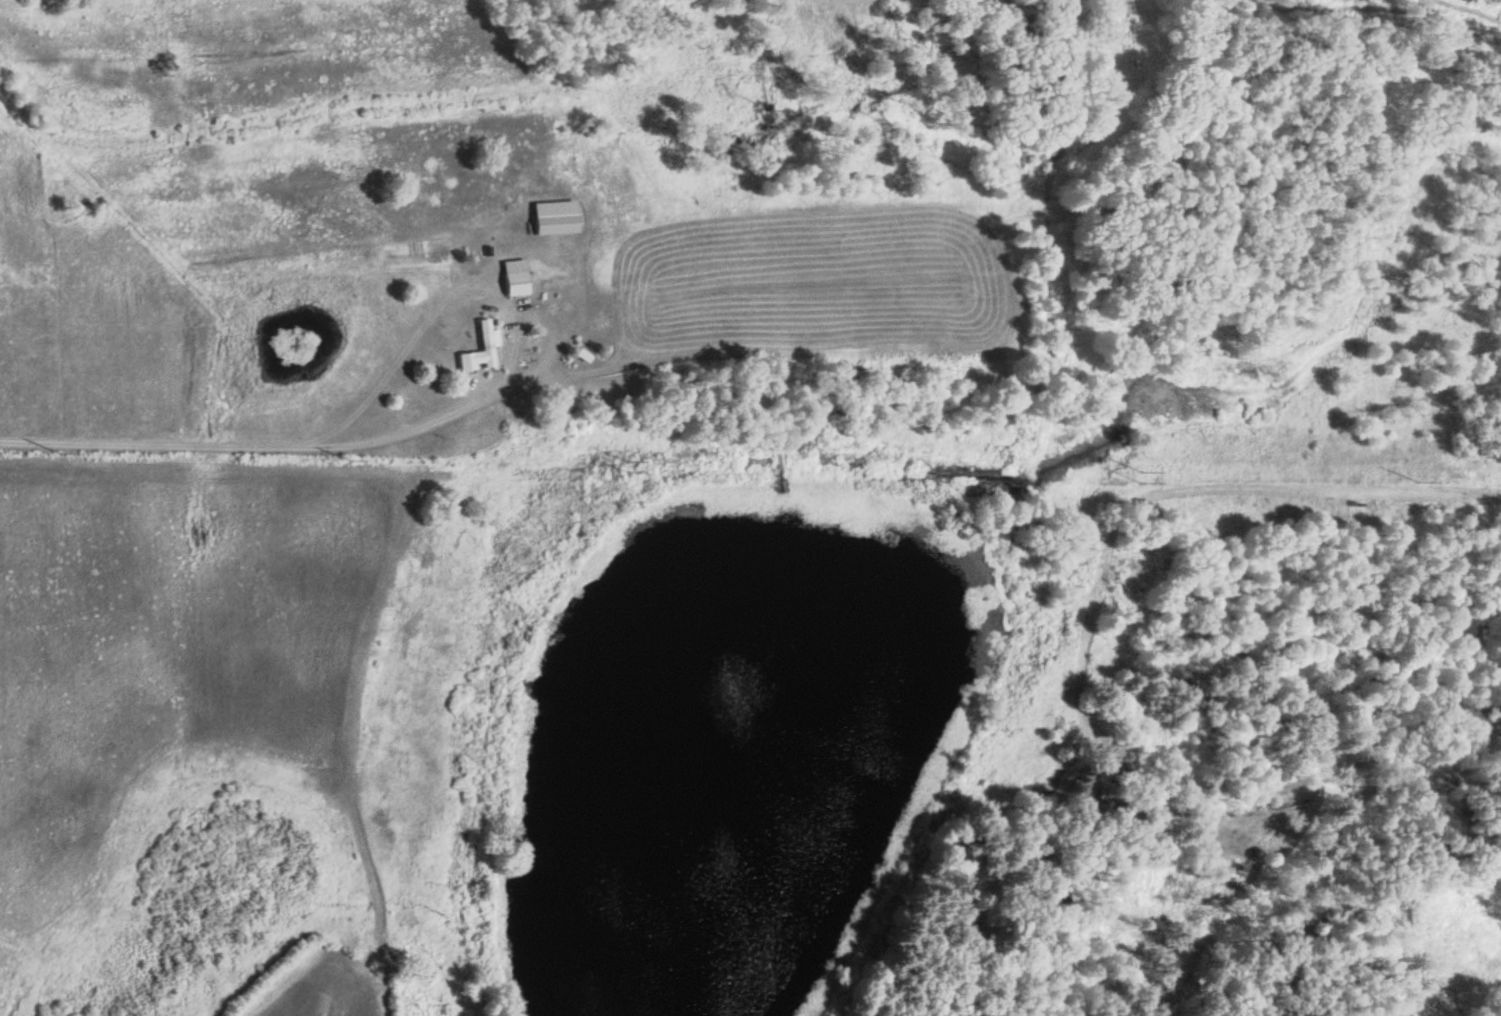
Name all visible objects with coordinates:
building: (549, 217)
building: (512, 275)
building: (479, 348)
power tower: (609, 465)
power tower: (1126, 479)
building: (1237, 872)

